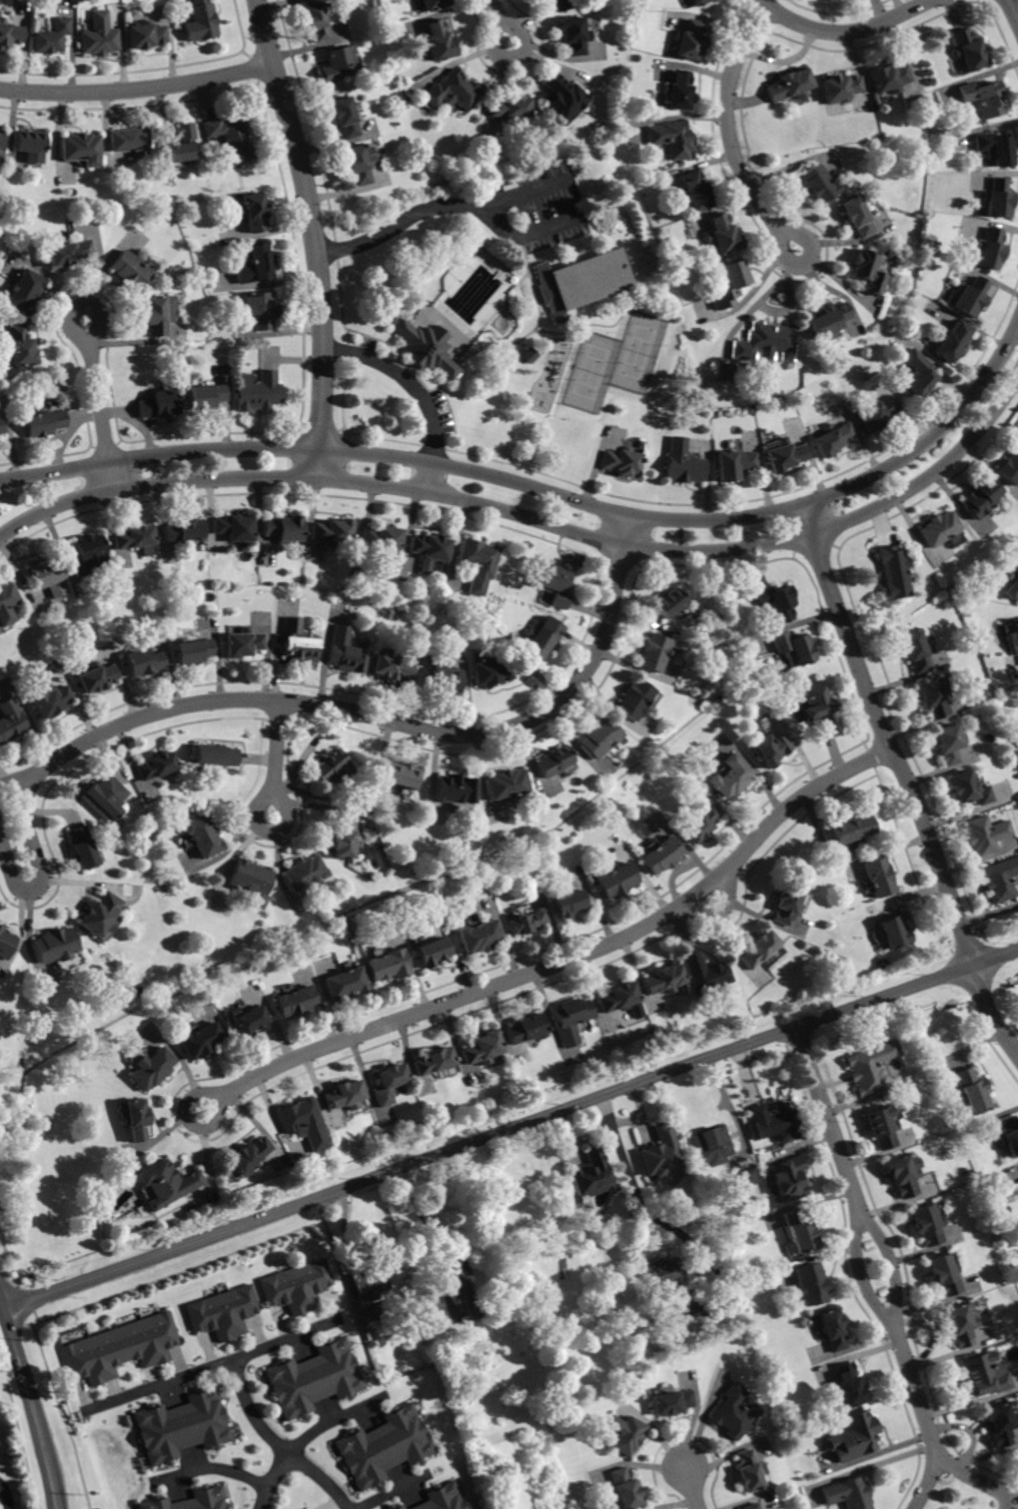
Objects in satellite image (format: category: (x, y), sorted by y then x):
building: (413, 0)
building: (415, 0)
building: (698, 2)
building: (433, 4)
building: (564, 4)
road: (1014, 7)
building: (316, 21)
road: (499, 21)
building: (201, 22)
road: (845, 32)
building: (10, 35)
building: (573, 35)
building: (100, 36)
building: (146, 36)
building: (52, 37)
building: (437, 41)
building: (688, 41)
building: (968, 50)
building: (336, 64)
building: (889, 77)
building: (789, 86)
road: (137, 87)
building: (839, 88)
building: (453, 91)
building: (678, 91)
building: (983, 97)
building: (561, 100)
building: (508, 108)
building: (344, 117)
road: (730, 132)
building: (671, 138)
building: (231, 139)
building: (129, 140)
building: (1, 142)
building: (183, 143)
building: (30, 144)
building: (81, 147)
building: (995, 147)
building: (357, 164)
building: (819, 183)
building: (694, 192)
building: (998, 199)
building: (253, 211)
building: (856, 216)
road: (503, 227)
road: (314, 235)
building: (720, 236)
building: (989, 248)
building: (69, 253)
building: (257, 265)
building: (131, 271)
building: (866, 271)
building: (580, 281)
building: (728, 285)
building: (26, 290)
building: (970, 297)
building: (260, 309)
building: (156, 316)
building: (826, 322)
building: (951, 341)
building: (764, 342)
building: (20, 347)
building: (426, 348)
building: (528, 354)
building: (914, 374)
road: (416, 391)
building: (259, 392)
building: (206, 396)
building: (160, 404)
road: (98, 406)
building: (875, 413)
building: (44, 423)
building: (3, 425)
building: (832, 439)
building: (639, 443)
building: (783, 455)
building: (620, 461)
building: (682, 463)
building: (734, 464)
building: (1009, 466)
road: (548, 493)
building: (978, 498)
road: (535, 520)
building: (235, 528)
building: (937, 528)
building: (284, 529)
building: (184, 531)
building: (333, 532)
building: (136, 538)
building: (382, 539)
building: (431, 548)
building: (88, 555)
building: (478, 564)
building: (893, 572)
building: (48, 577)
building: (554, 584)
building: (1012, 590)
building: (774, 601)
building: (7, 603)
building: (667, 603)
building: (45, 608)
building: (1014, 636)
building: (542, 640)
building: (298, 642)
building: (243, 643)
building: (791, 648)
building: (194, 651)
building: (915, 651)
building: (344, 652)
building: (653, 652)
building: (143, 662)
building: (391, 666)
building: (489, 669)
building: (441, 675)
building: (97, 678)
building: (932, 697)
building: (633, 699)
building: (49, 700)
road: (335, 707)
building: (818, 707)
building: (11, 721)
road: (885, 736)
building: (598, 737)
building: (948, 743)
building: (771, 749)
building: (217, 755)
road: (276, 758)
building: (551, 761)
building: (159, 765)
building: (333, 768)
building: (401, 776)
building: (730, 777)
building: (506, 784)
building: (455, 789)
building: (969, 789)
building: (106, 798)
building: (699, 824)
building: (852, 829)
building: (986, 834)
building: (203, 836)
building: (344, 837)
building: (83, 847)
building: (663, 855)
building: (303, 872)
building: (880, 877)
building: (1000, 879)
building: (249, 880)
building: (617, 880)
building: (568, 904)
building: (788, 904)
building: (100, 915)
building: (529, 922)
building: (894, 932)
building: (481, 937)
building: (5, 943)
building: (54, 945)
building: (760, 949)
building: (433, 951)
road: (566, 959)
building: (390, 965)
building: (706, 974)
building: (665, 979)
building: (346, 983)
building: (620, 998)
building: (297, 1001)
road: (992, 1009)
building: (571, 1019)
building: (249, 1020)
building: (527, 1029)
building: (203, 1040)
building: (483, 1048)
building: (434, 1061)
building: (869, 1067)
building: (154, 1068)
building: (390, 1083)
building: (972, 1090)
building: (343, 1094)
building: (137, 1118)
building: (776, 1122)
building: (304, 1123)
building: (881, 1127)
road: (510, 1129)
building: (1009, 1135)
building: (712, 1145)
building: (664, 1154)
building: (250, 1155)
building: (594, 1174)
building: (901, 1175)
building: (749, 1177)
building: (789, 1179)
building: (168, 1183)
building: (927, 1224)
building: (802, 1231)
road: (691, 1238)
road: (870, 1243)
building: (666, 1274)
building: (944, 1274)
building: (458, 1279)
building: (370, 1283)
building: (812, 1285)
building: (298, 1287)
building: (383, 1309)
building: (475, 1309)
building: (224, 1313)
building: (671, 1316)
building: (960, 1323)
building: (833, 1330)
building: (122, 1349)
road: (218, 1368)
building: (984, 1376)
building: (315, 1379)
building: (475, 1379)
building: (847, 1388)
building: (672, 1402)
road: (34, 1403)
building: (734, 1412)
building: (1001, 1422)
building: (184, 1427)
building: (625, 1434)
building: (857, 1438)
road: (309, 1441)
road: (277, 1445)
building: (386, 1447)
road: (213, 1466)
building: (750, 1471)
road: (975, 1482)
road: (925, 1485)
road: (692, 1487)
building: (625, 1489)
road: (6, 1494)
building: (849, 1494)
building: (444, 1498)
building: (191, 1500)
building: (752, 1506)
building: (397, 1507)
building: (306, 1508)

